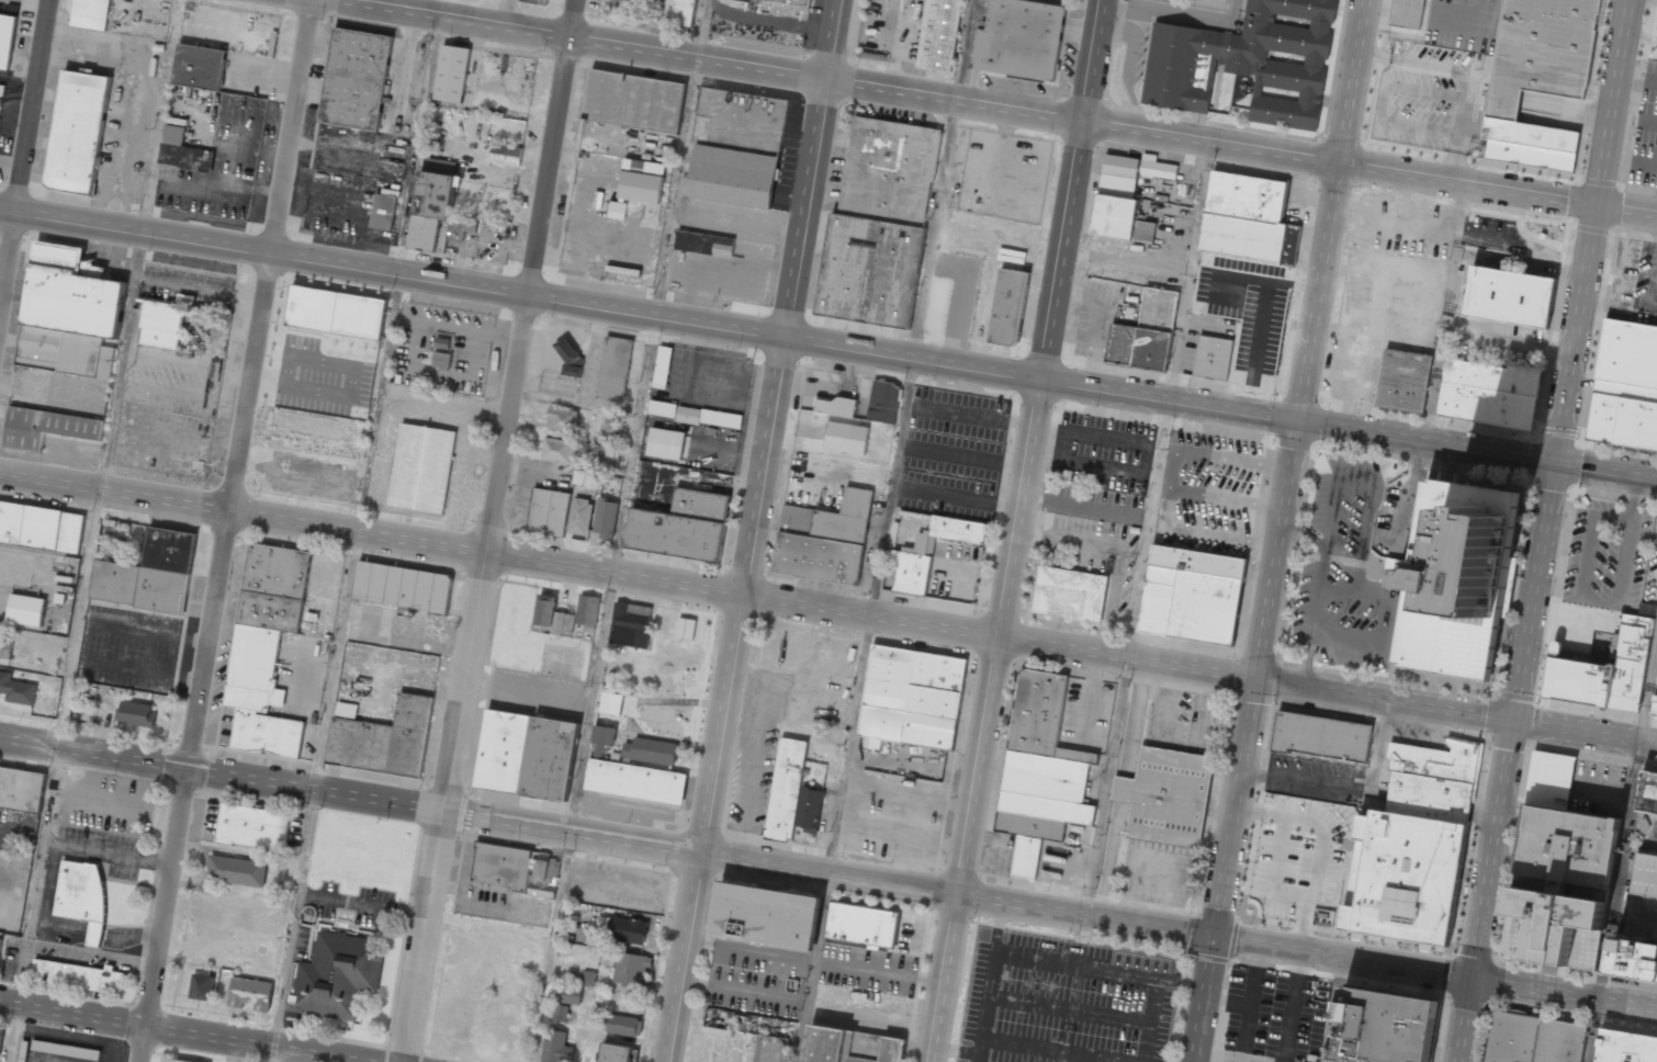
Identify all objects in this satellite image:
building: (797, 1)
building: (1407, 13)
building: (90, 14)
building: (939, 34)
building: (1019, 38)
building: (7, 39)
building: (1249, 61)
building: (199, 67)
building: (451, 74)
building: (357, 79)
building: (634, 101)
road: (984, 108)
building: (77, 132)
parking lot: (1646, 133)
building: (1531, 147)
building: (182, 151)
building: (506, 155)
road: (26, 159)
building: (1157, 168)
building: (732, 177)
building: (641, 180)
building: (1245, 197)
building: (1119, 202)
building: (617, 210)
building: (432, 211)
building: (383, 212)
road: (1333, 212)
building: (878, 225)
road: (1591, 233)
building: (1249, 239)
building: (704, 244)
parking lot: (1634, 281)
building: (1508, 297)
building: (1007, 307)
building: (69, 315)
road: (1051, 318)
building: (335, 321)
building: (162, 324)
building: (1146, 334)
road: (778, 335)
building: (1628, 353)
building: (1211, 358)
building: (441, 360)
building: (662, 366)
building: (615, 369)
building: (1405, 381)
building: (1489, 394)
building: (883, 402)
building: (835, 406)
building: (662, 408)
building: (1624, 414)
building: (709, 417)
building: (562, 419)
traffic signals: (1299, 425)
building: (45, 428)
building: (846, 438)
building: (609, 443)
building: (666, 443)
building: (559, 450)
traffic signals: (1556, 467)
building: (421, 470)
road: (1607, 475)
building: (549, 511)
building: (579, 517)
building: (605, 517)
building: (681, 527)
building: (41, 528)
road: (226, 531)
road: (492, 531)
road: (754, 531)
building: (113, 538)
building: (825, 540)
road: (498, 553)
building: (927, 554)
parking lot: (1343, 570)
building: (148, 575)
building: (1456, 578)
building: (403, 588)
building: (1070, 595)
building: (1191, 595)
building: (26, 610)
building: (545, 610)
building: (587, 610)
building: (630, 625)
building: (690, 630)
building: (267, 647)
building: (5, 648)
building: (1604, 673)
traffic signals: (1255, 679)
road: (1254, 680)
building: (16, 689)
road: (1327, 690)
building: (610, 703)
building: (911, 703)
building: (1655, 703)
building: (137, 713)
traffic signals: (1512, 722)
road: (1511, 723)
building: (1320, 738)
building: (383, 739)
building: (650, 752)
building: (528, 755)
building: (1041, 773)
building: (636, 782)
building: (22, 789)
building: (1647, 791)
building: (791, 793)
building: (1166, 795)
building: (228, 823)
building: (246, 825)
building: (262, 827)
building: (279, 831)
building: (1566, 831)
parking lot: (1650, 838)
road: (606, 839)
building: (1413, 843)
road: (966, 849)
building: (514, 870)
building: (237, 871)
building: (82, 894)
building: (1644, 897)
parking garage: (1644, 897)
building: (766, 916)
building: (861, 926)
building: (1553, 928)
building: (623, 929)
traffic signals: (1214, 938)
building: (1, 942)
building: (1634, 956)
road: (1343, 959)
building: (631, 969)
building: (338, 975)
building: (78, 976)
building: (588, 978)
building: (201, 985)
building: (250, 993)
building: (572, 995)
road: (1565, 995)
road: (1203, 999)
building: (561, 1013)
road: (1465, 1021)
building: (624, 1025)
building: (1382, 1027)
road: (183, 1030)
building: (1534, 1039)
building: (1, 1040)
building: (556, 1047)
building: (852, 1047)
building: (1626, 1047)
building: (770, 1049)
building: (66, 1050)
building: (617, 1053)
building: (180, 1061)

